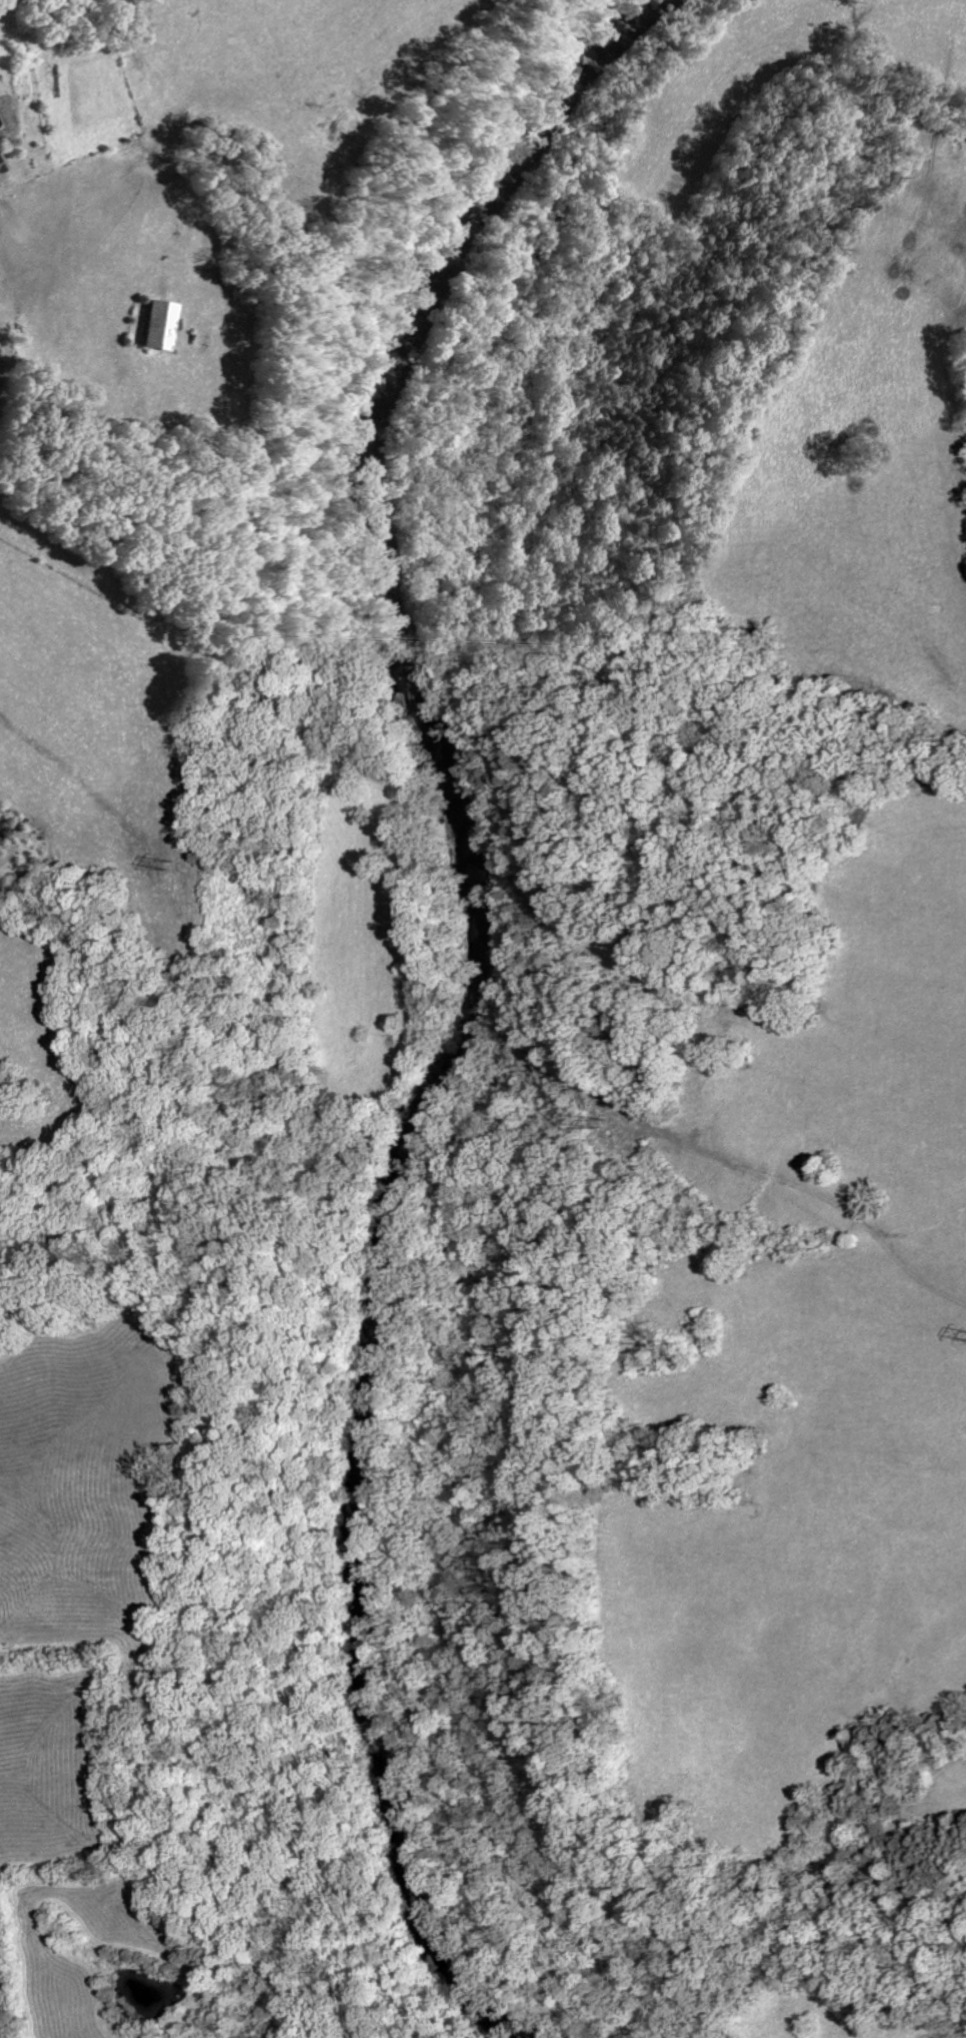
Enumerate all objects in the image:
building: (1, 167)
building: (158, 324)
power tower: (161, 863)
power tower: (597, 1121)

